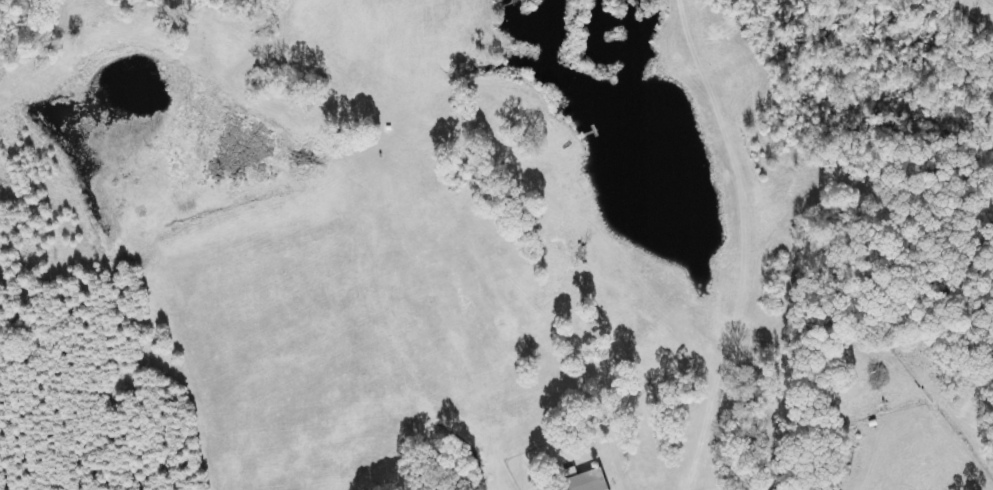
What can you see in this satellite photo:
building: (585, 482)

